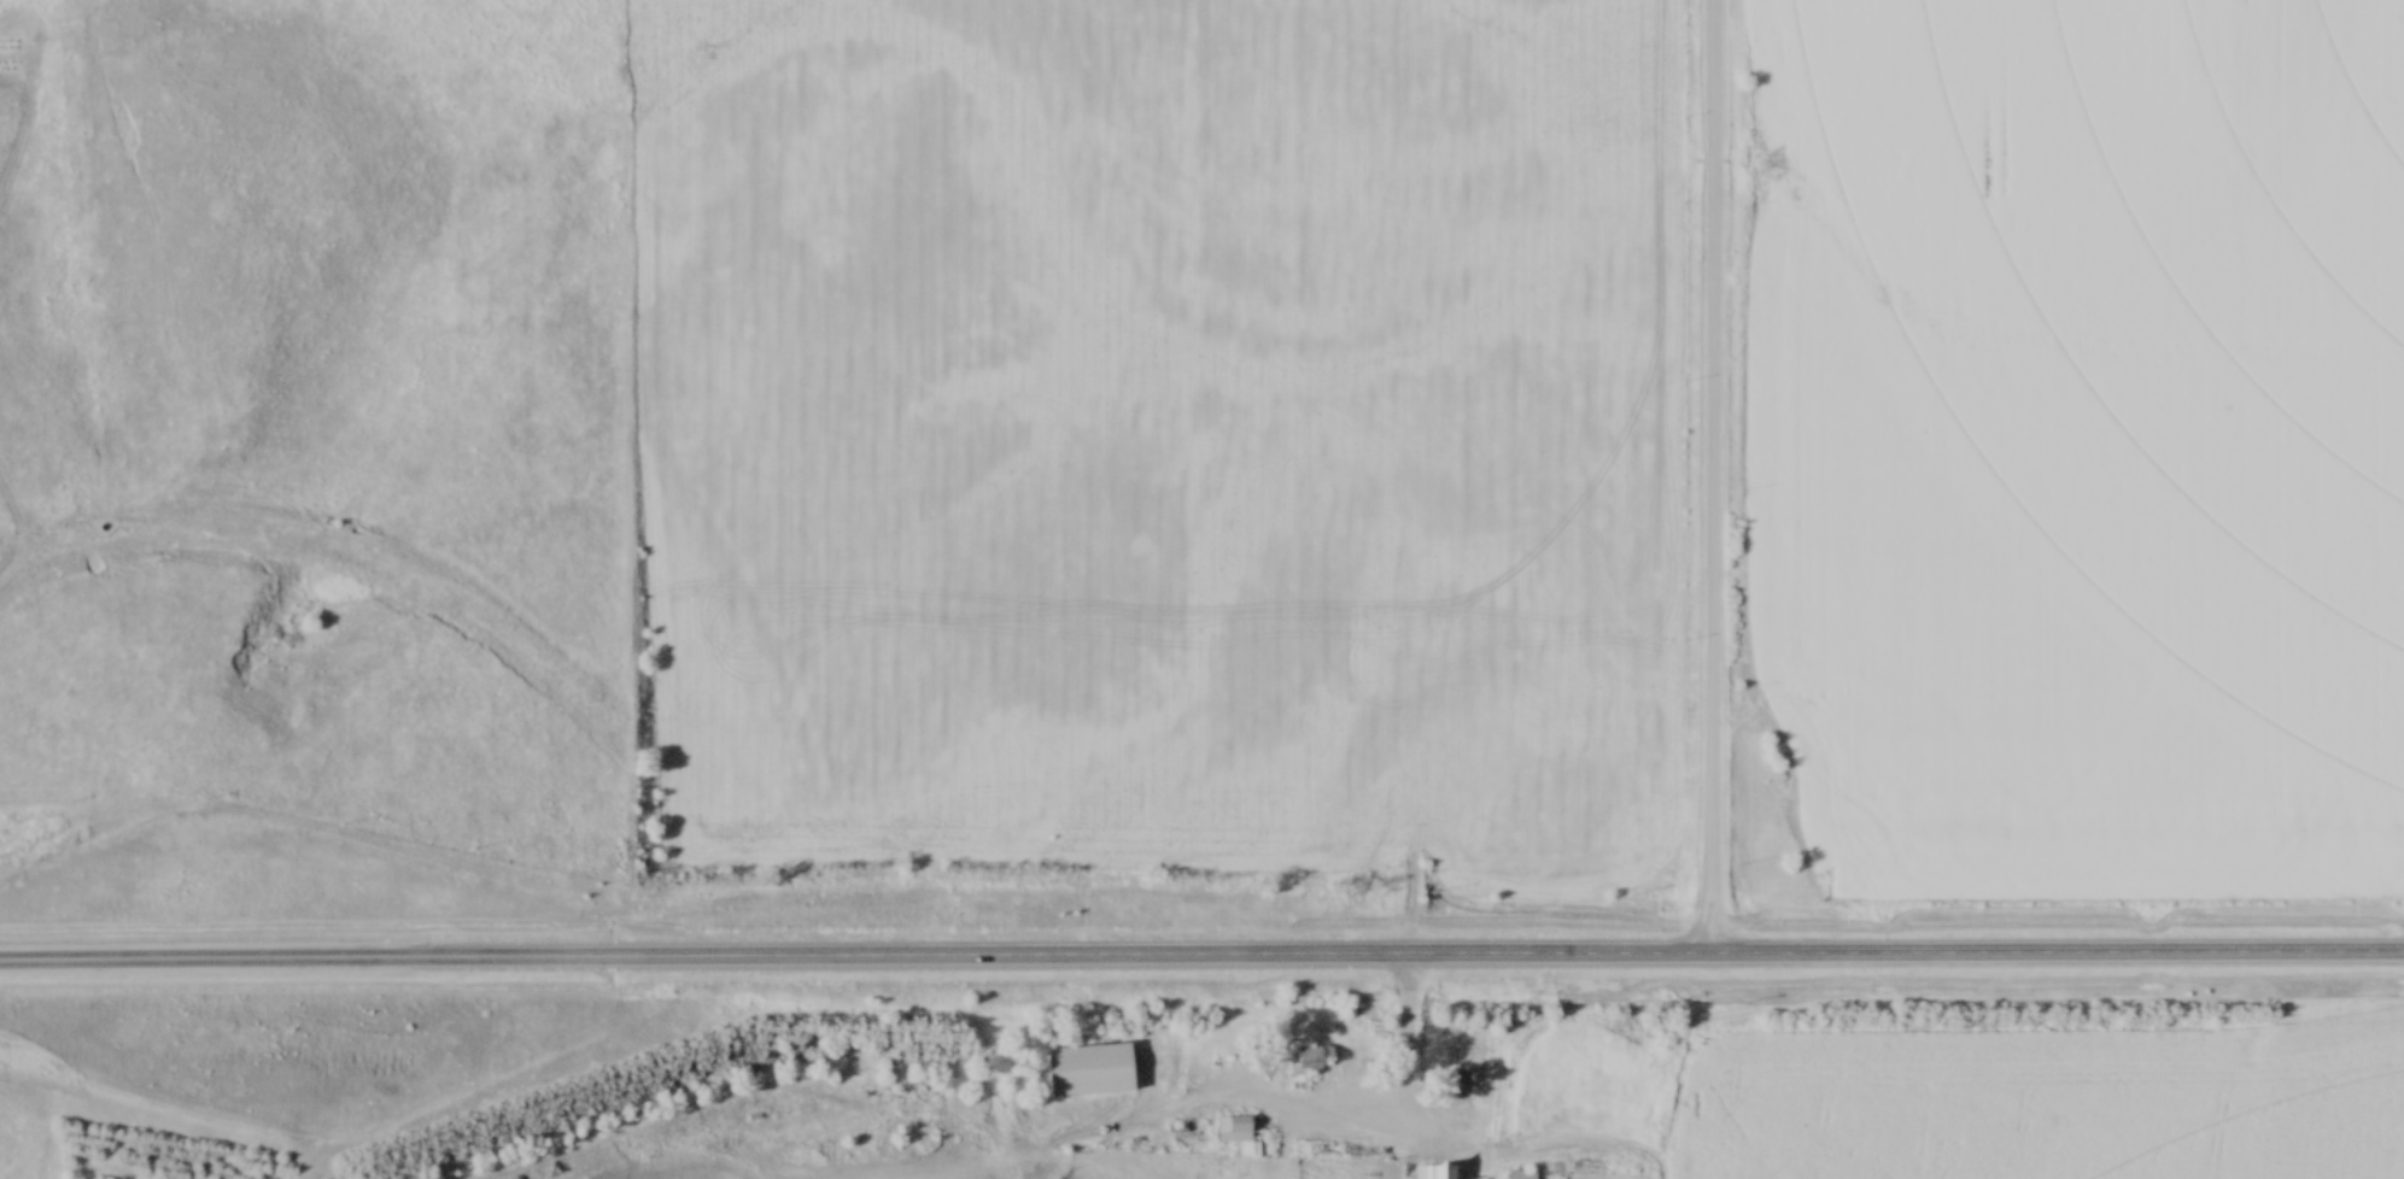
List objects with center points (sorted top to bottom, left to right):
road: (1713, 479)
road: (1201, 962)
road: (1408, 1042)
building: (1304, 1060)
building: (1090, 1071)
building: (1234, 1130)
building: (1435, 1172)
building: (1521, 1174)

